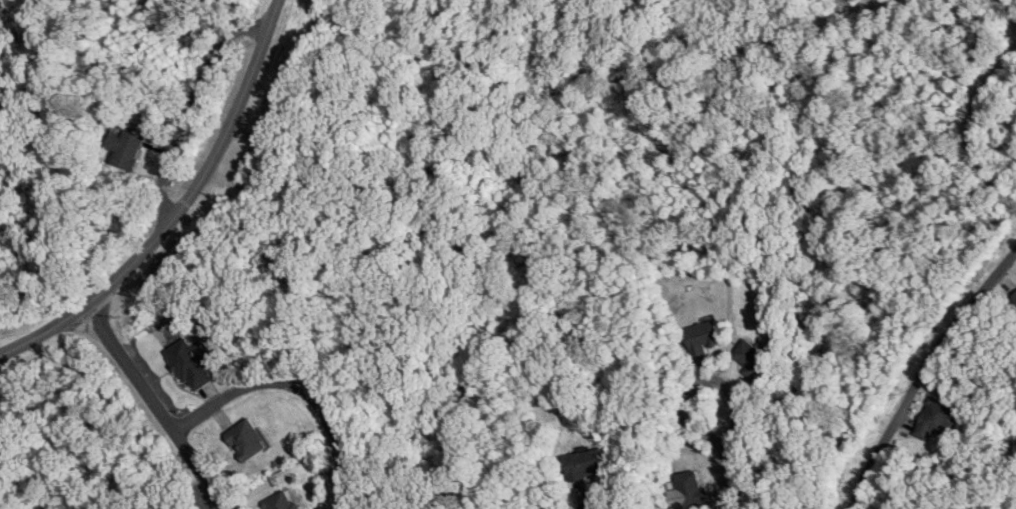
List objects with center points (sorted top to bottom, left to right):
road: (1009, 6)
road: (776, 38)
road: (189, 108)
road: (967, 124)
building: (126, 149)
road: (268, 171)
road: (180, 210)
building: (1013, 299)
building: (702, 336)
building: (752, 359)
building: (191, 362)
road: (922, 372)
road: (297, 391)
road: (159, 405)
building: (935, 418)
building: (246, 439)
road: (730, 455)
building: (587, 463)
building: (691, 489)
building: (280, 502)

